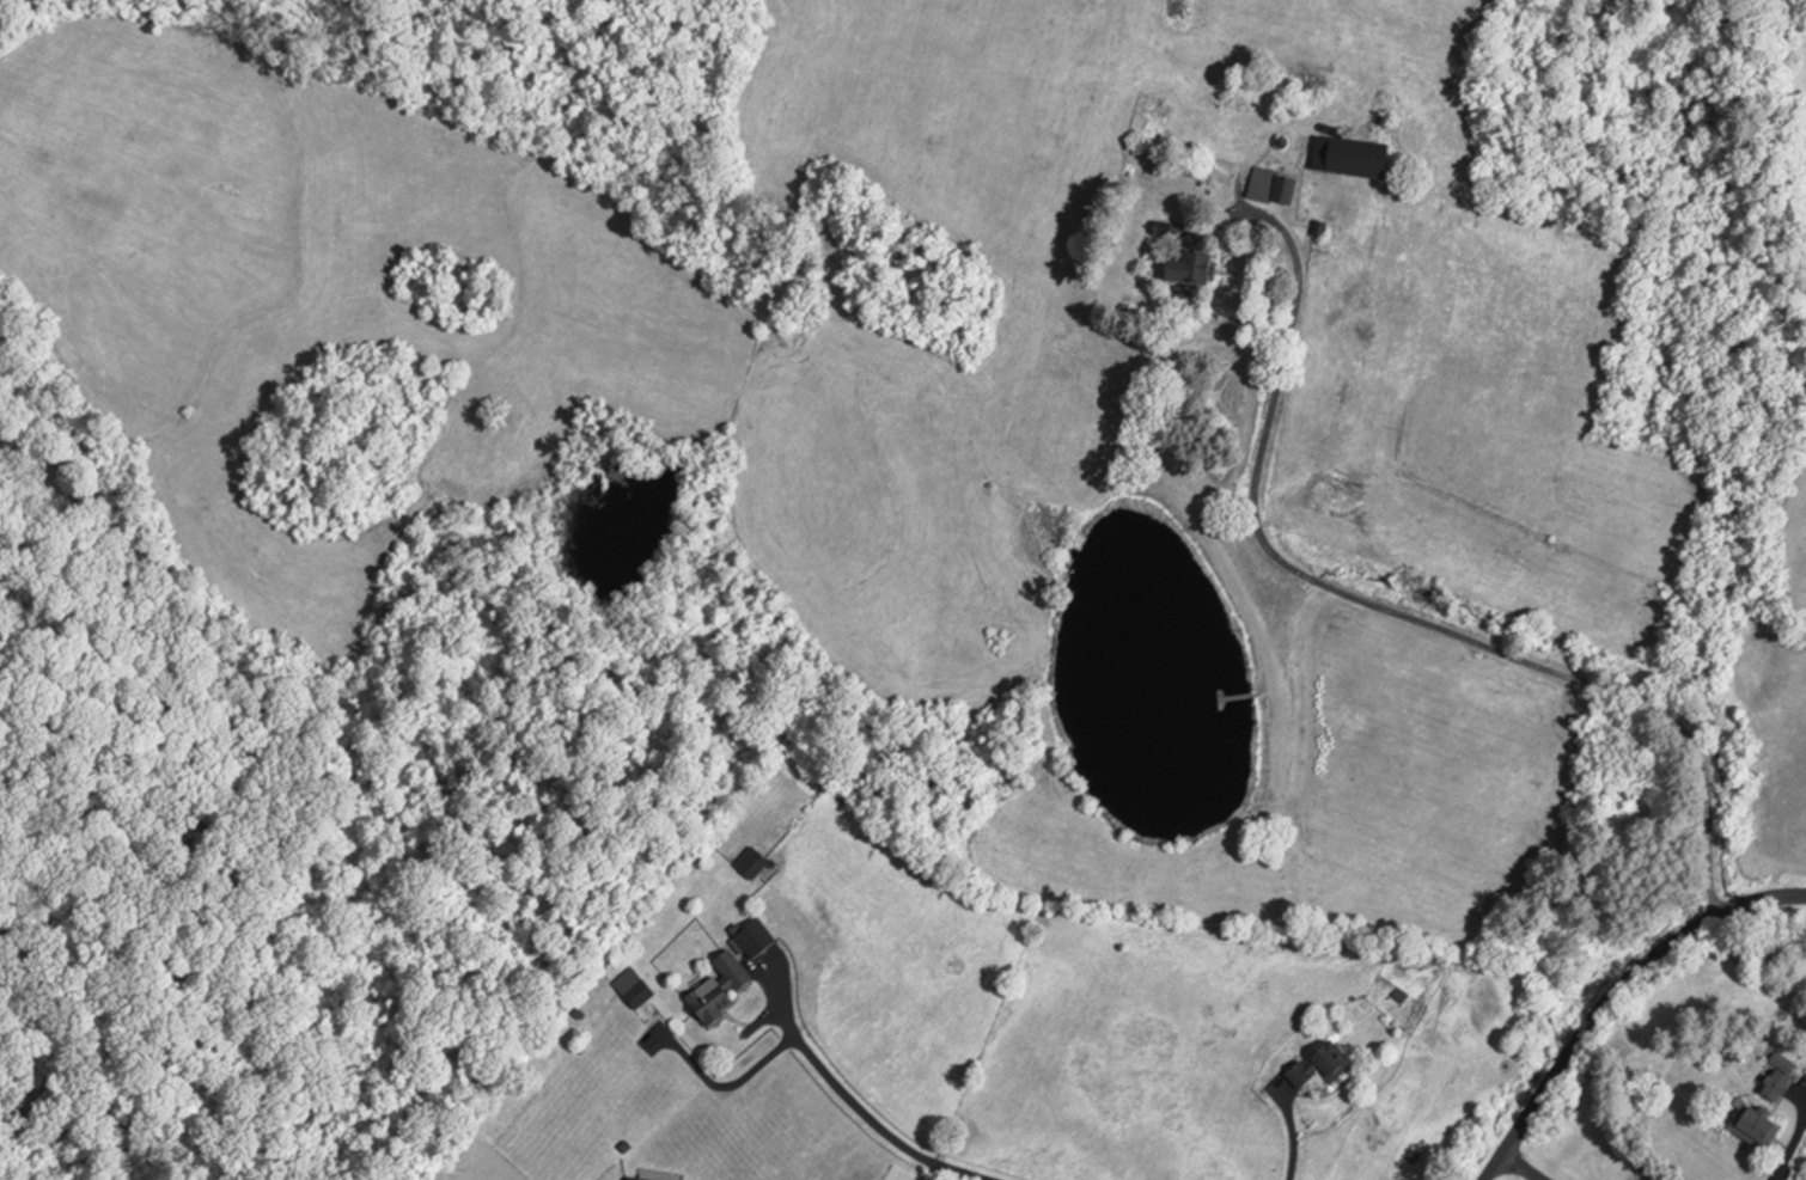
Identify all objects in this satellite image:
building: (1340, 129)
silo: (1340, 129)
building: (1277, 140)
silo: (1277, 140)
building: (1347, 155)
building: (1269, 185)
building: (1316, 226)
building: (1185, 267)
road: (1393, 611)
building: (752, 862)
building: (753, 939)
building: (630, 988)
building: (718, 988)
road: (1609, 992)
building: (1318, 1064)
building: (1780, 1064)
building: (1775, 1086)
road: (850, 1101)
building: (1753, 1124)
road: (1289, 1131)
road: (1788, 1148)
road: (1514, 1167)
building: (630, 1179)

